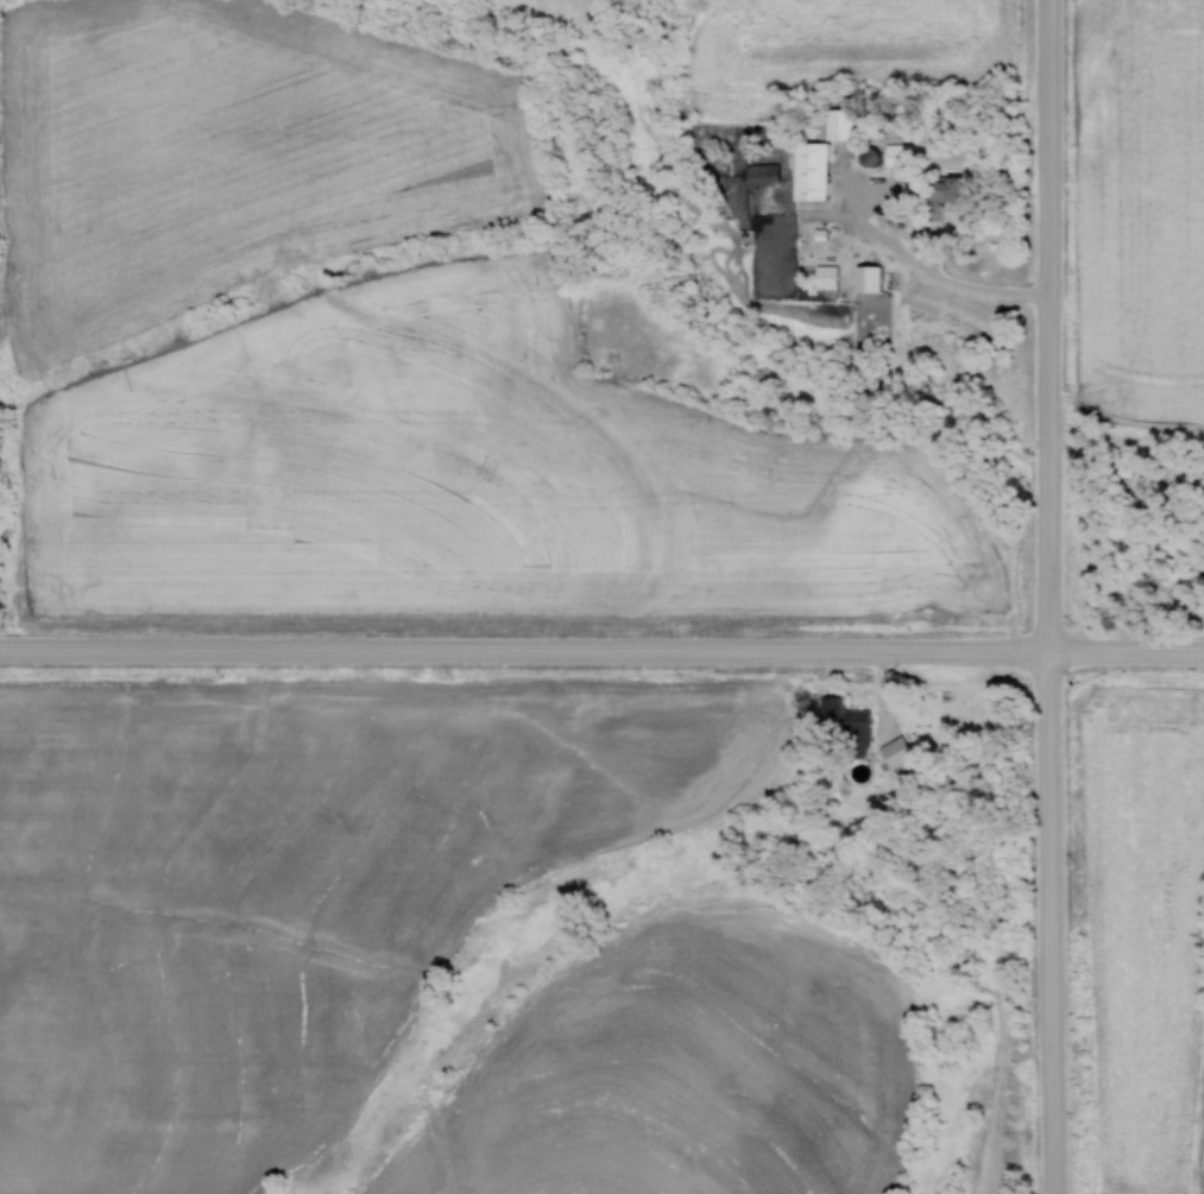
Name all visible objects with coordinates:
building: (836, 125)
building: (894, 156)
building: (808, 171)
building: (757, 176)
building: (940, 190)
road: (928, 274)
building: (824, 277)
building: (865, 279)
road: (1126, 443)
road: (1047, 596)
road: (601, 652)
building: (847, 725)

